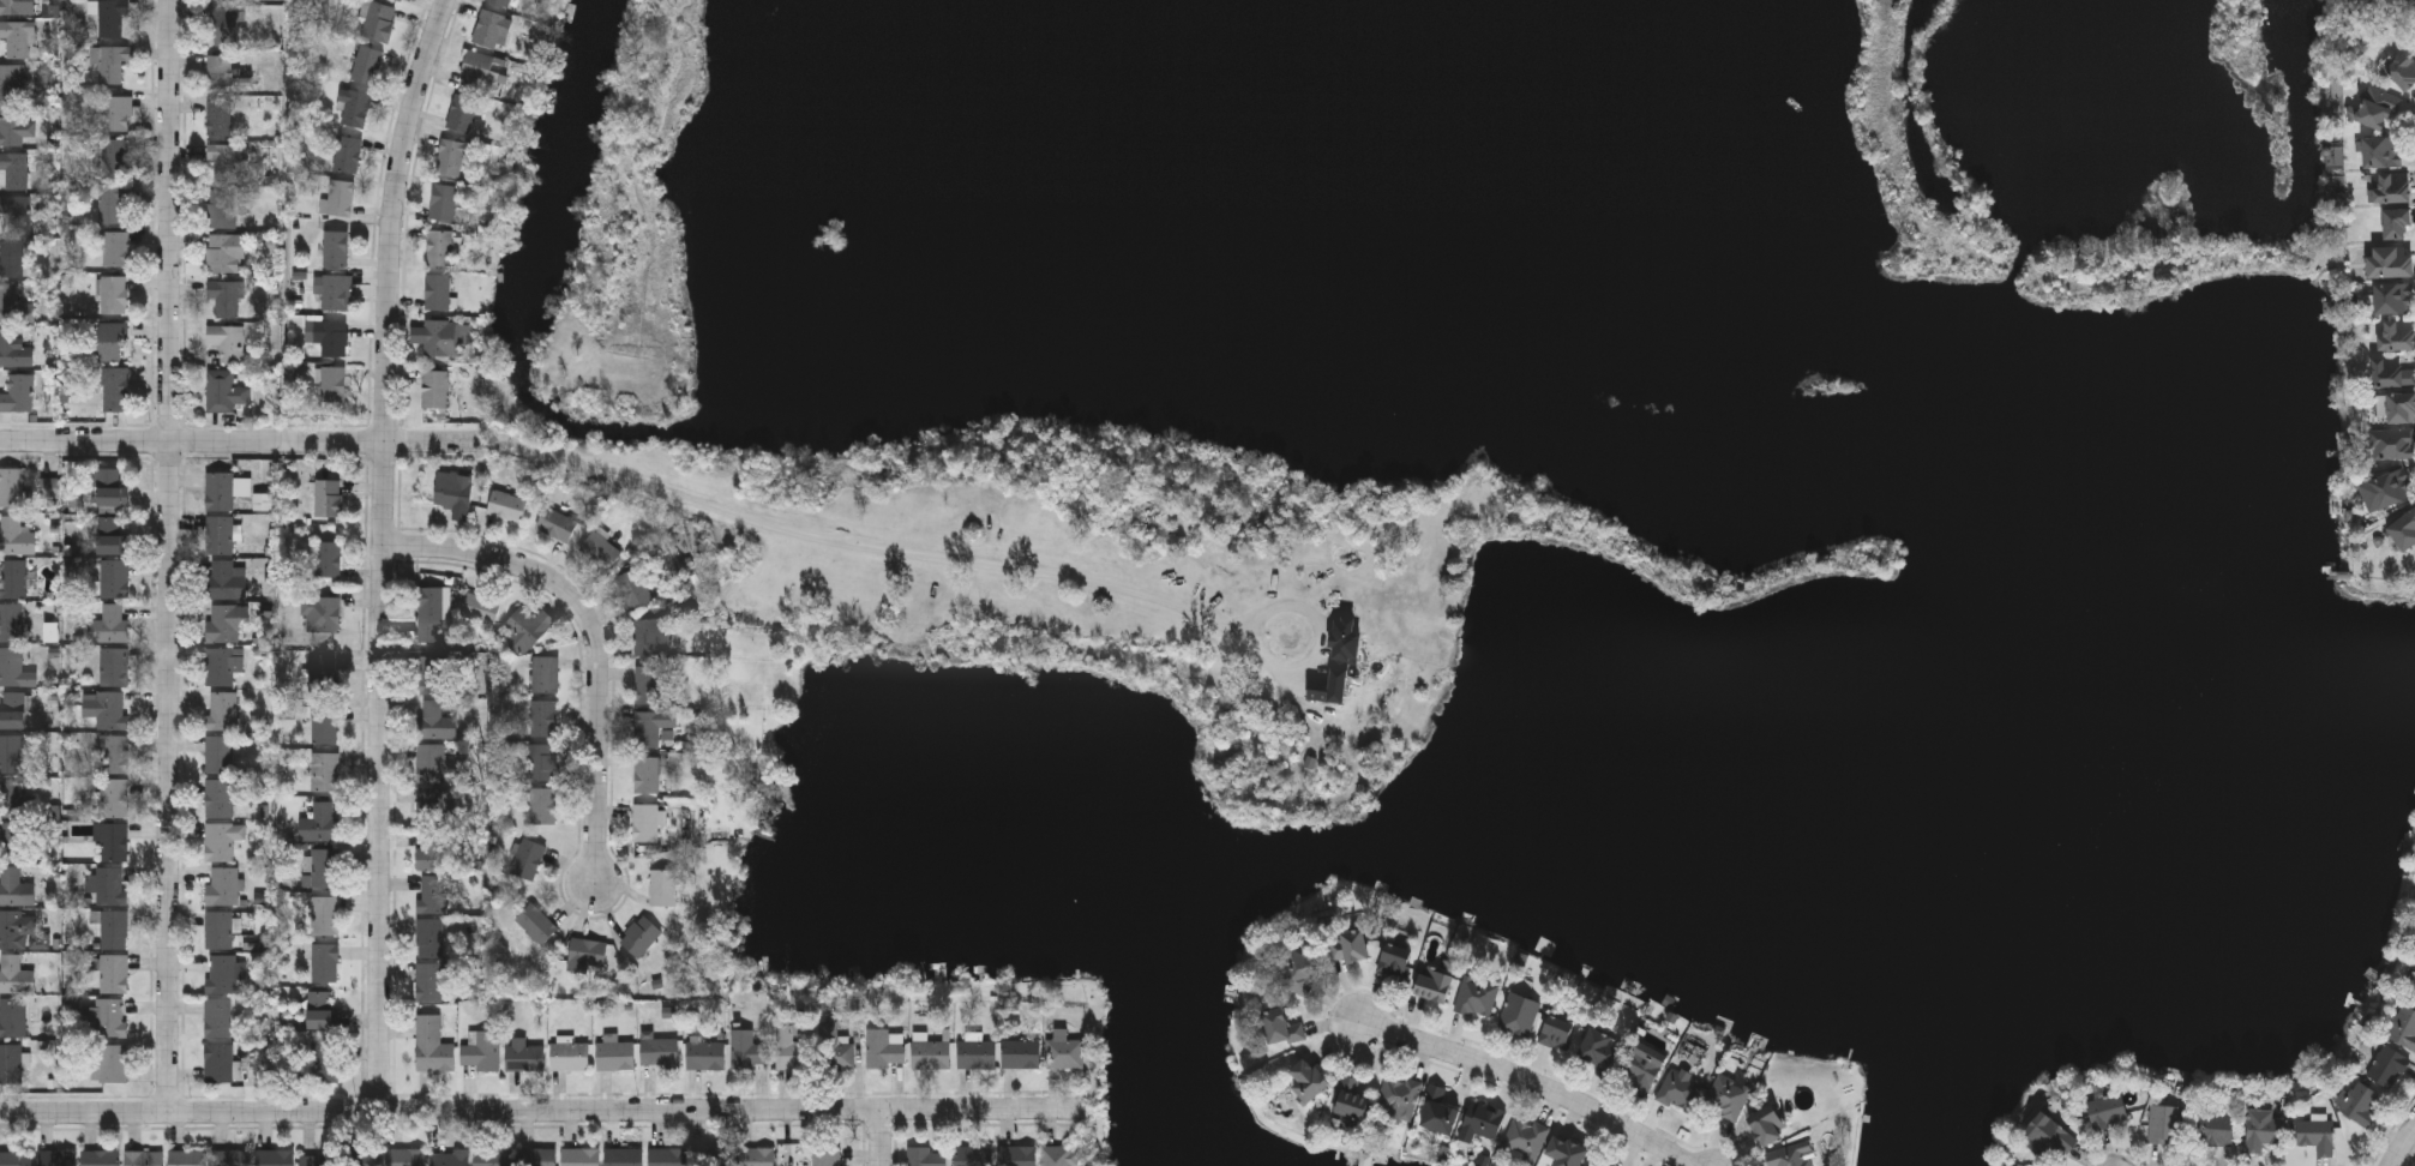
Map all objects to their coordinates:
building: (223, 0)
building: (398, 0)
building: (499, 2)
building: (11, 7)
building: (109, 19)
building: (378, 23)
building: (223, 26)
building: (489, 29)
building: (16, 40)
building: (113, 66)
building: (366, 66)
building: (2403, 70)
building: (220, 73)
building: (480, 74)
building: (11, 84)
building: (353, 108)
building: (2375, 108)
building: (115, 114)
building: (462, 114)
building: (218, 118)
building: (11, 128)
building: (2381, 151)
building: (346, 155)
building: (114, 158)
building: (449, 158)
building: (226, 163)
building: (14, 170)
building: (2390, 188)
building: (340, 198)
building: (110, 203)
building: (443, 203)
building: (222, 209)
building: (14, 215)
road: (170, 221)
building: (2397, 224)
building: (439, 247)
building: (113, 248)
building: (335, 248)
building: (221, 253)
building: (11, 259)
building: (2390, 260)
building: (332, 291)
building: (437, 291)
building: (112, 295)
building: (222, 297)
building: (2393, 297)
building: (7, 303)
building: (2397, 335)
building: (330, 337)
building: (440, 338)
building: (110, 342)
building: (227, 342)
building: (13, 350)
building: (2391, 372)
building: (331, 386)
building: (434, 389)
building: (114, 390)
building: (222, 392)
building: (17, 393)
building: (2396, 405)
road: (245, 443)
building: (2391, 444)
building: (10, 487)
building: (108, 487)
building: (2391, 487)
building: (222, 489)
building: (452, 489)
building: (326, 497)
building: (506, 505)
building: (557, 523)
building: (2404, 530)
building: (220, 534)
building: (14, 535)
building: (112, 535)
road: (383, 551)
building: (601, 551)
road: (969, 552)
building: (328, 558)
building: (112, 577)
building: (12, 578)
building: (227, 578)
building: (633, 588)
building: (480, 609)
building: (320, 614)
building: (428, 614)
building: (11, 621)
building: (226, 623)
building: (108, 625)
building: (528, 625)
building: (650, 636)
road: (594, 637)
building: (221, 665)
building: (112, 666)
building: (13, 668)
building: (1340, 668)
building: (322, 673)
building: (432, 674)
building: (543, 674)
building: (647, 684)
building: (104, 709)
building: (12, 710)
building: (222, 710)
building: (542, 719)
building: (434, 720)
building: (323, 723)
building: (651, 726)
building: (11, 752)
building: (114, 753)
building: (218, 755)
building: (541, 761)
building: (429, 762)
building: (324, 770)
building: (645, 774)
road: (169, 776)
building: (12, 798)
building: (113, 798)
building: (218, 798)
building: (429, 805)
building: (542, 805)
building: (645, 822)
building: (319, 823)
building: (14, 839)
building: (221, 840)
building: (113, 841)
building: (429, 848)
building: (527, 858)
building: (325, 867)
building: (108, 884)
building: (223, 884)
building: (16, 886)
building: (662, 886)
building: (433, 894)
building: (325, 915)
building: (535, 924)
building: (16, 927)
building: (110, 927)
building: (218, 928)
building: (639, 936)
building: (428, 937)
building: (1347, 944)
building: (587, 951)
building: (1393, 961)
building: (325, 962)
building: (112, 973)
building: (221, 973)
building: (1298, 973)
building: (14, 975)
building: (428, 981)
building: (2410, 981)
building: (1434, 984)
building: (1476, 996)
building: (319, 998)
building: (1519, 1014)
building: (109, 1016)
building: (12, 1017)
building: (217, 1017)
building: (323, 1017)
building: (1281, 1027)
building: (2403, 1027)
building: (1556, 1033)
building: (431, 1045)
building: (794, 1046)
building: (746, 1048)
building: (882, 1048)
building: (1599, 1048)
building: (482, 1050)
building: (834, 1050)
building: (1064, 1050)
building: (659, 1051)
building: (703, 1053)
building: (975, 1053)
building: (1020, 1053)
building: (614, 1054)
building: (930, 1054)
building: (569, 1056)
building: (523, 1057)
building: (110, 1063)
building: (218, 1063)
building: (325, 1063)
building: (10, 1064)
building: (2387, 1066)
building: (1640, 1069)
building: (1306, 1082)
road: (1531, 1082)
building: (1680, 1088)
building: (1726, 1095)
building: (1352, 1098)
building: (1398, 1098)
building: (2359, 1105)
road: (543, 1110)
building: (2107, 1110)
building: (1438, 1112)
building: (1483, 1119)
building: (1767, 1124)
building: (2163, 1124)
building: (2216, 1128)
building: (2263, 1129)
building: (2048, 1135)
building: (2317, 1135)
road: (882, 1137)
building: (1524, 1140)
road: (2405, 1150)
building: (1566, 1152)
building: (825, 1154)
building: (974, 1155)
building: (1015, 1155)
building: (1058, 1155)
building: (1790, 1155)
building: (492, 1156)
building: (537, 1156)
building: (579, 1156)
building: (623, 1156)
building: (666, 1156)
building: (756, 1156)
building: (925, 1156)
building: (16, 1158)
building: (56, 1158)
building: (100, 1158)
building: (143, 1158)
building: (187, 1158)
building: (230, 1158)
building: (275, 1158)
building: (366, 1158)
building: (403, 1158)
building: (451, 1158)
building: (717, 1158)
building: (318, 1160)
building: (1598, 1160)

